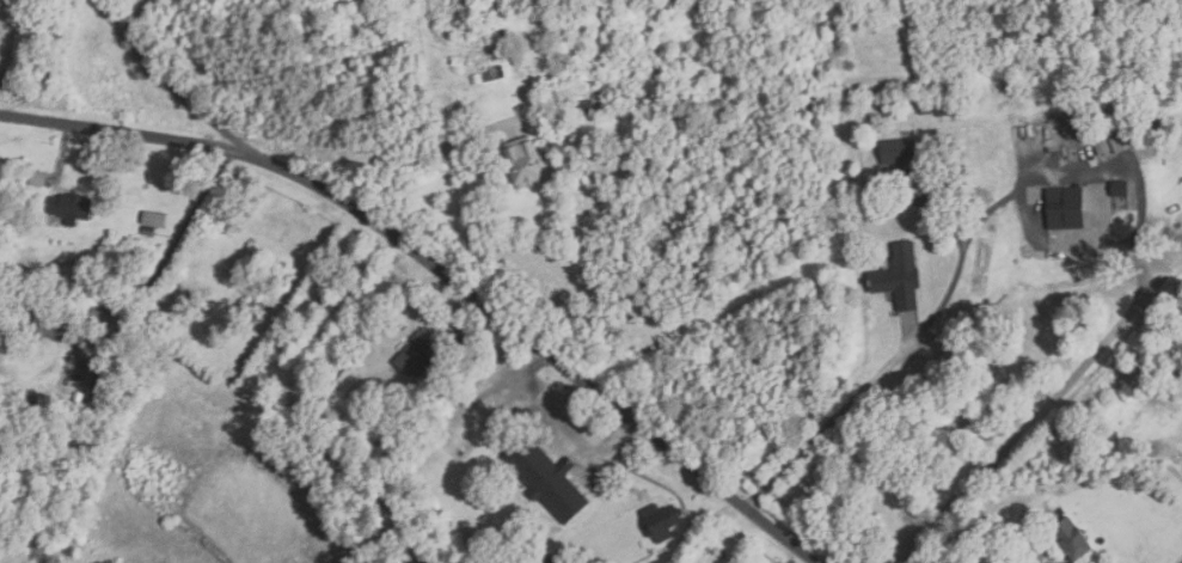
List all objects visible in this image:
road: (141, 13)
building: (543, 22)
building: (517, 65)
building: (500, 72)
building: (488, 75)
building: (477, 79)
road: (167, 85)
building: (587, 108)
building: (954, 109)
building: (941, 110)
building: (926, 111)
building: (1108, 115)
building: (1156, 131)
building: (1122, 142)
building: (1102, 146)
road: (423, 155)
building: (900, 157)
building: (527, 164)
building: (38, 179)
building: (1121, 189)
building: (71, 208)
building: (1067, 208)
building: (155, 220)
building: (264, 227)
road: (172, 250)
road: (436, 270)
building: (901, 277)
building: (325, 301)
building: (257, 306)
building: (47, 325)
building: (415, 357)
building: (268, 359)
building: (91, 373)
road: (866, 386)
building: (367, 400)
road: (1027, 430)
building: (549, 481)
building: (662, 522)
building: (1072, 539)
building: (555, 559)
road: (1027, 561)

